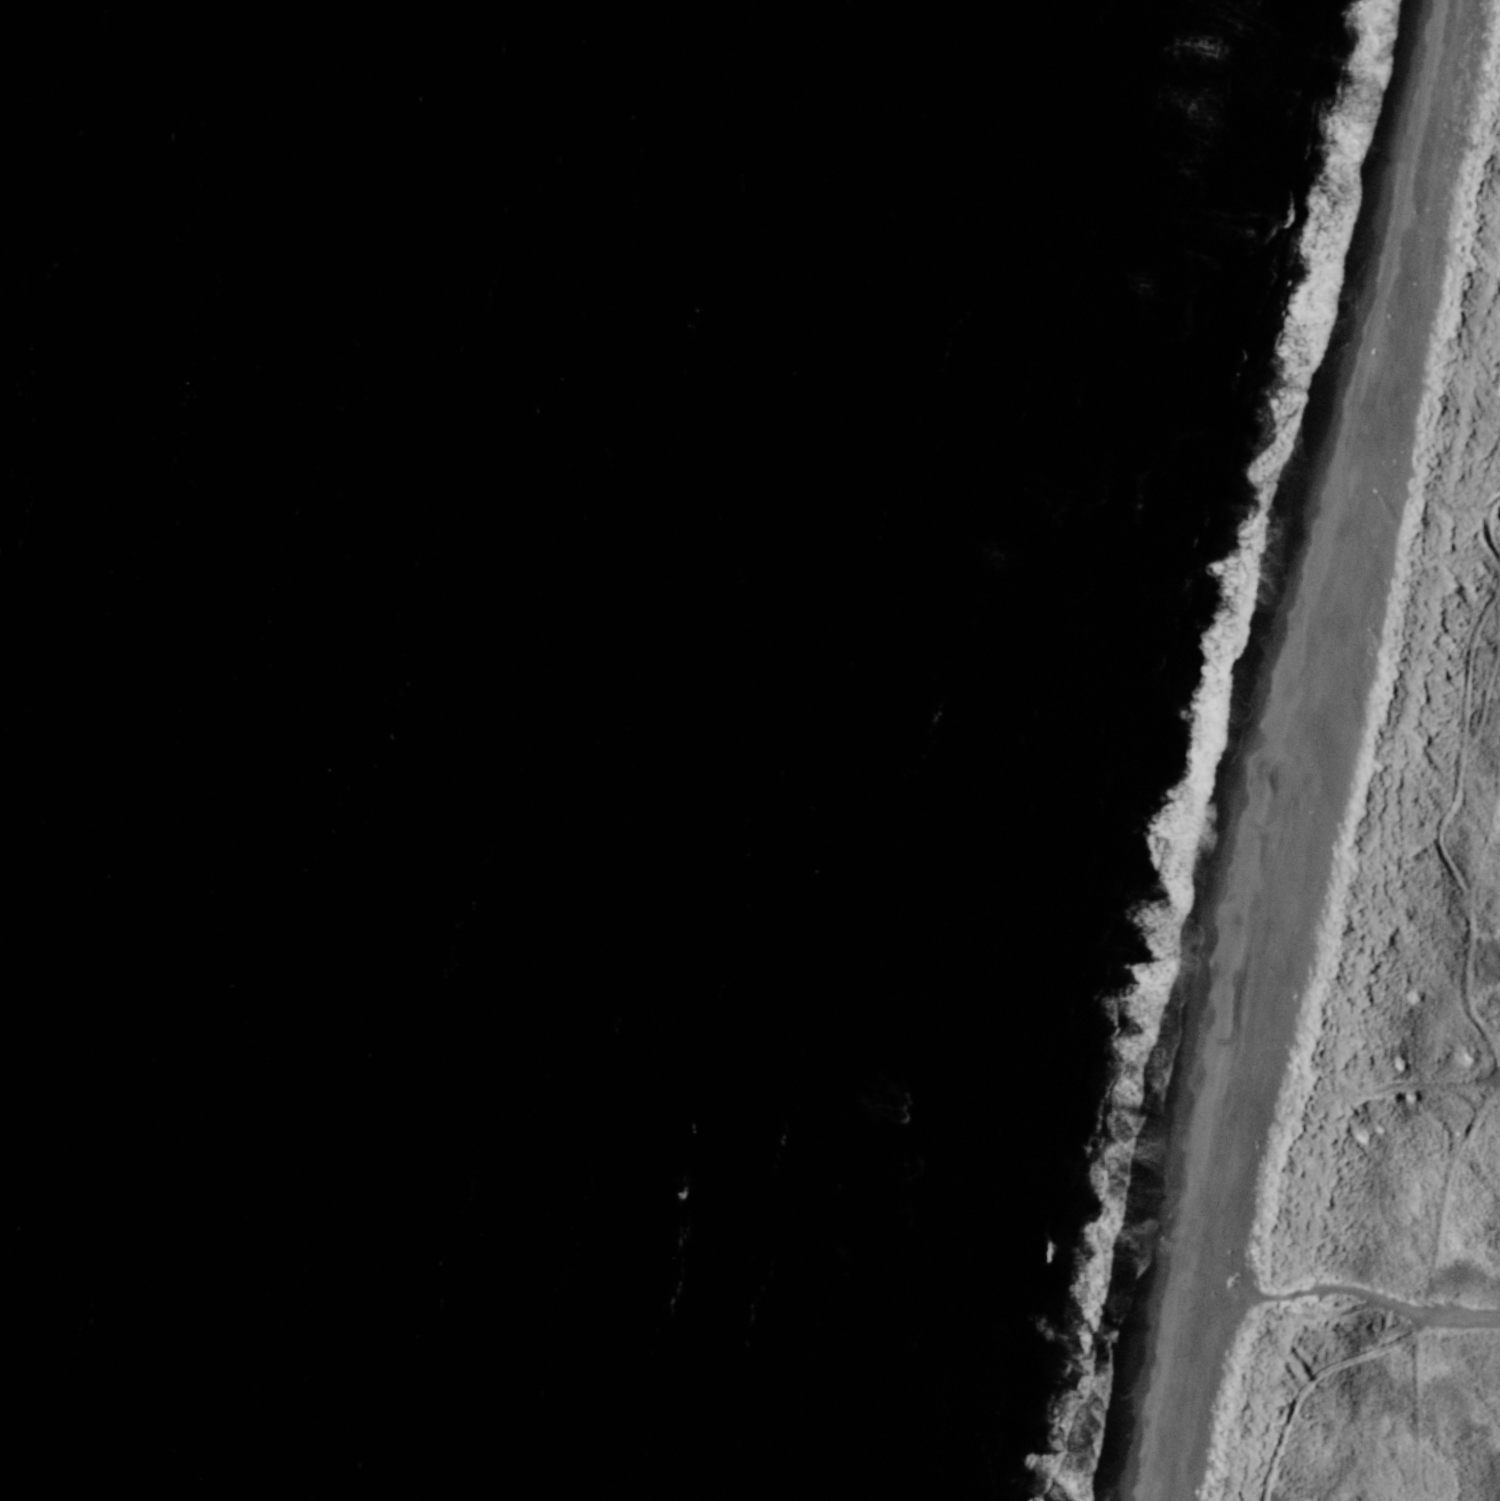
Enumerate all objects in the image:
road: (1412, 1315)
road: (1299, 1385)

